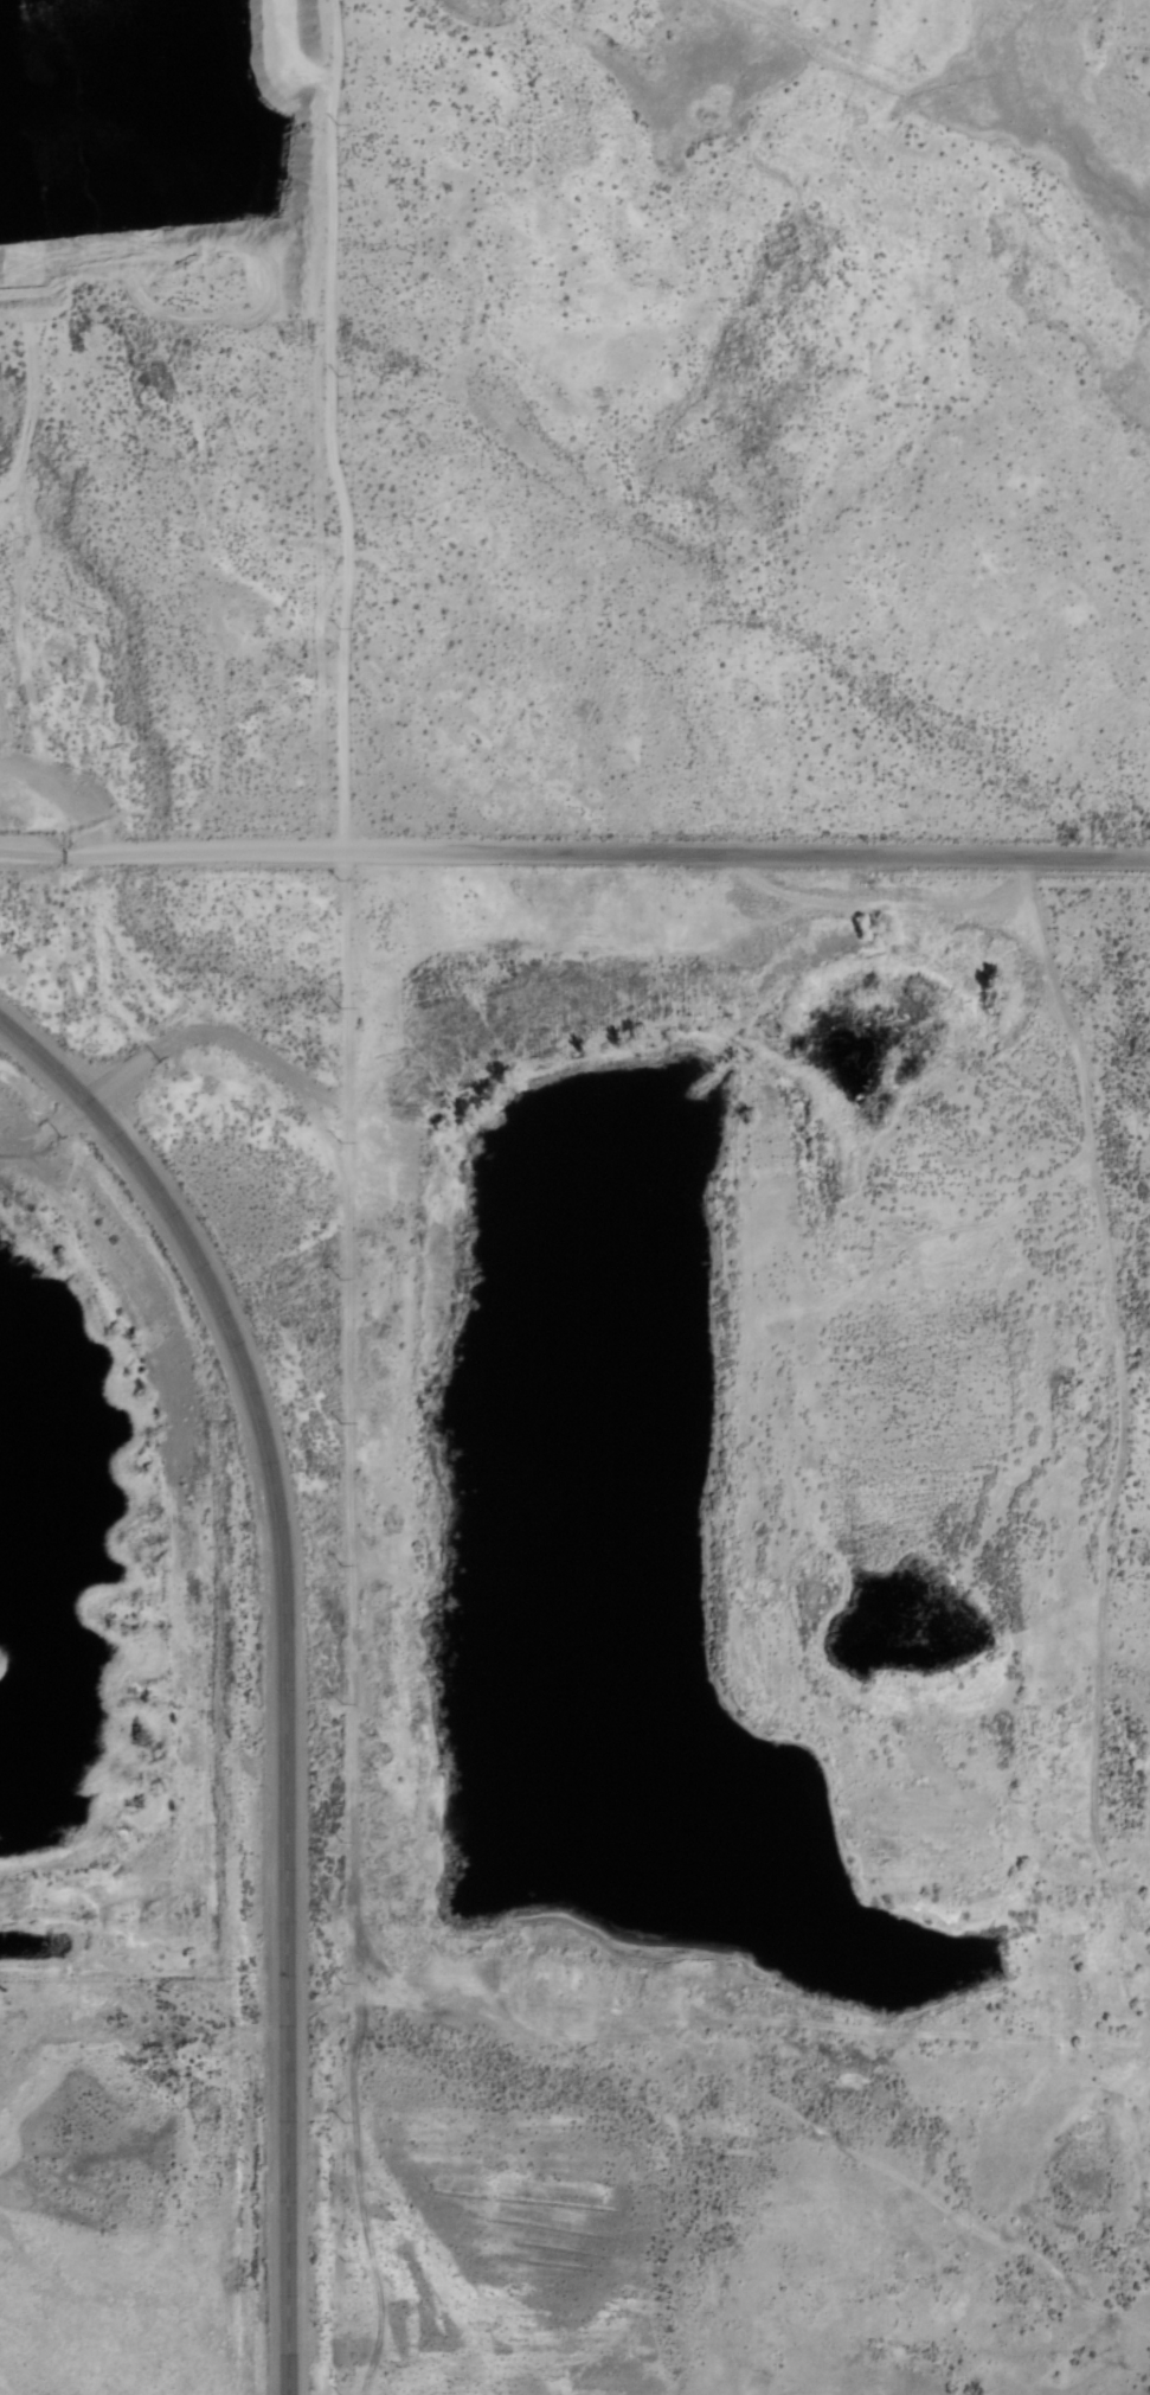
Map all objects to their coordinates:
road: (574, 851)
road: (293, 1657)

